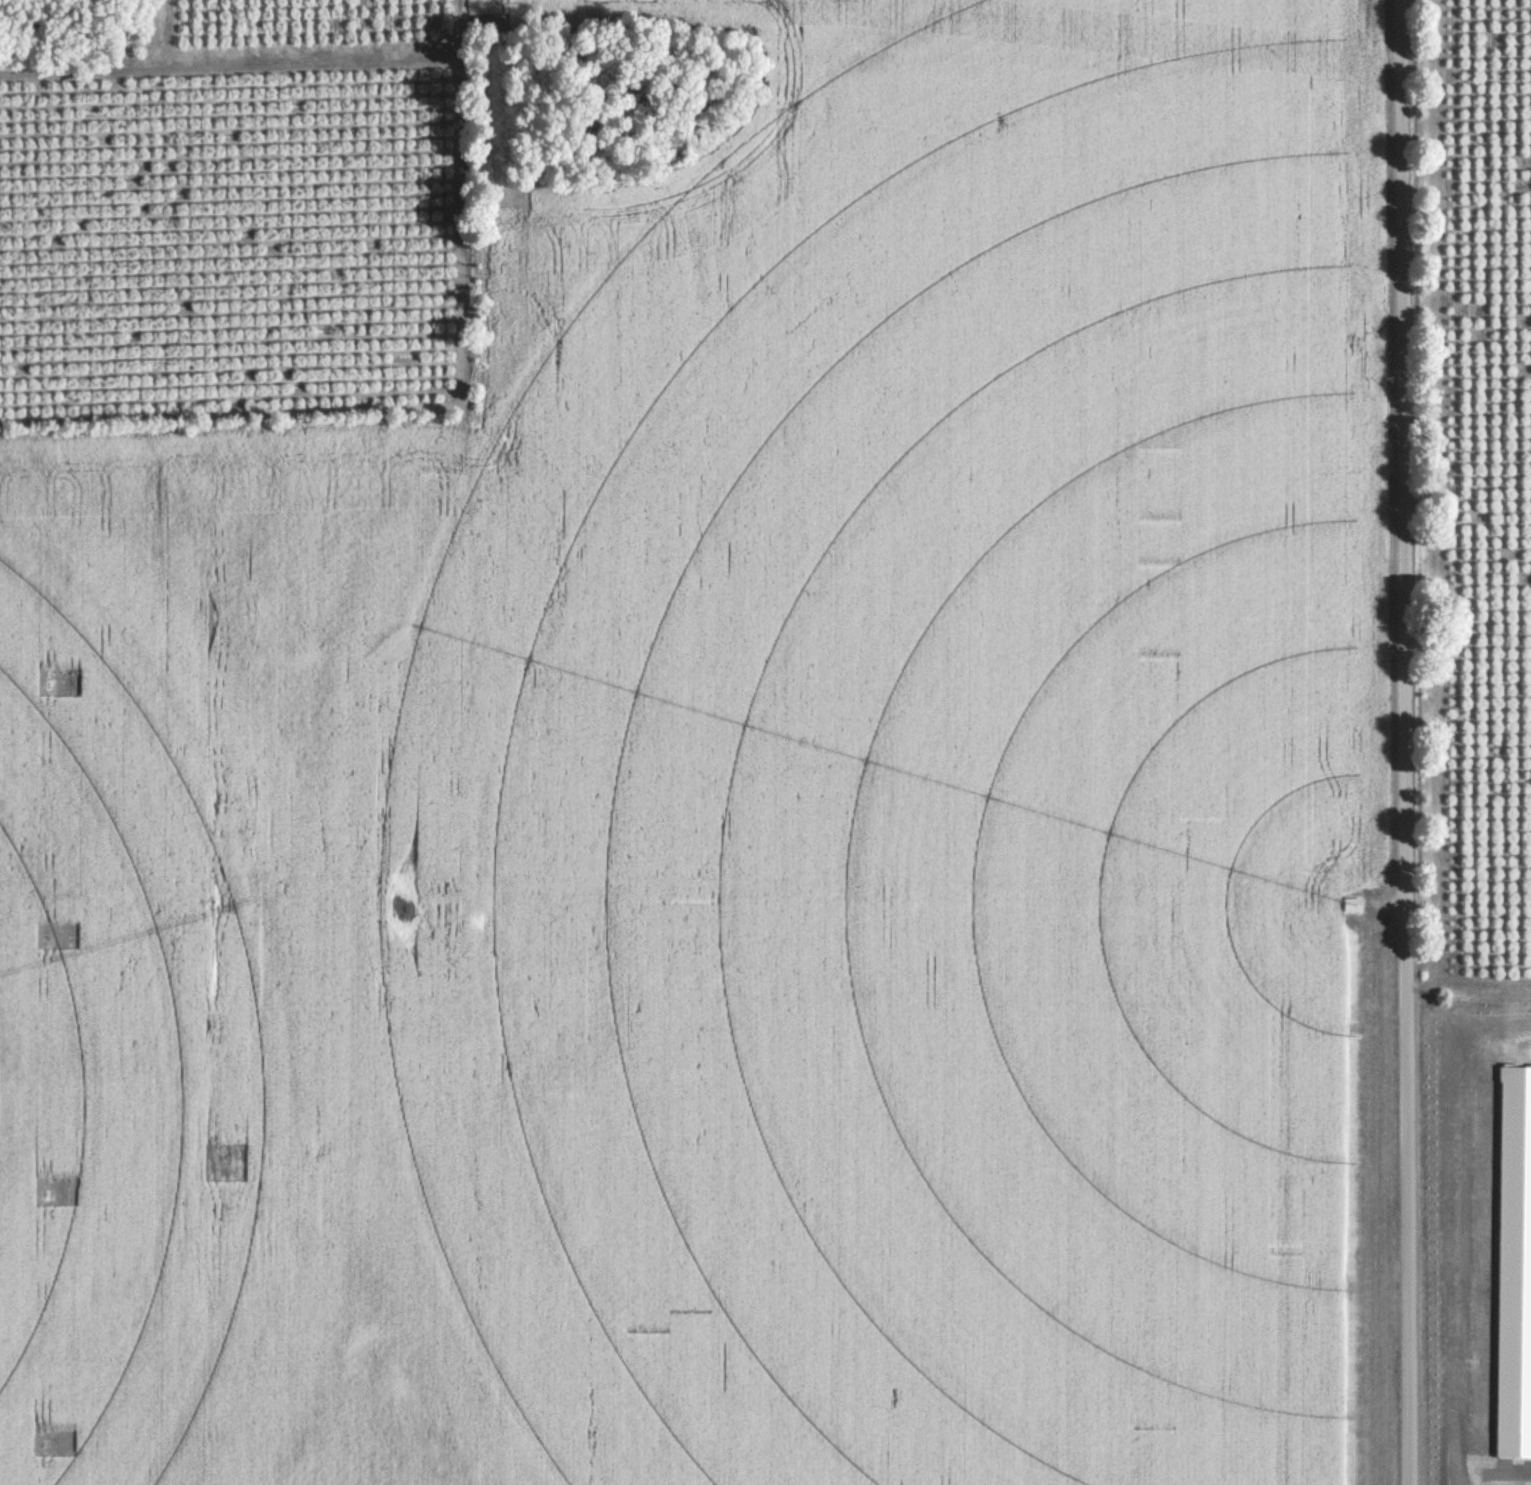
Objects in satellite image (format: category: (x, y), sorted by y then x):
road: (1393, 742)
building: (1352, 906)

